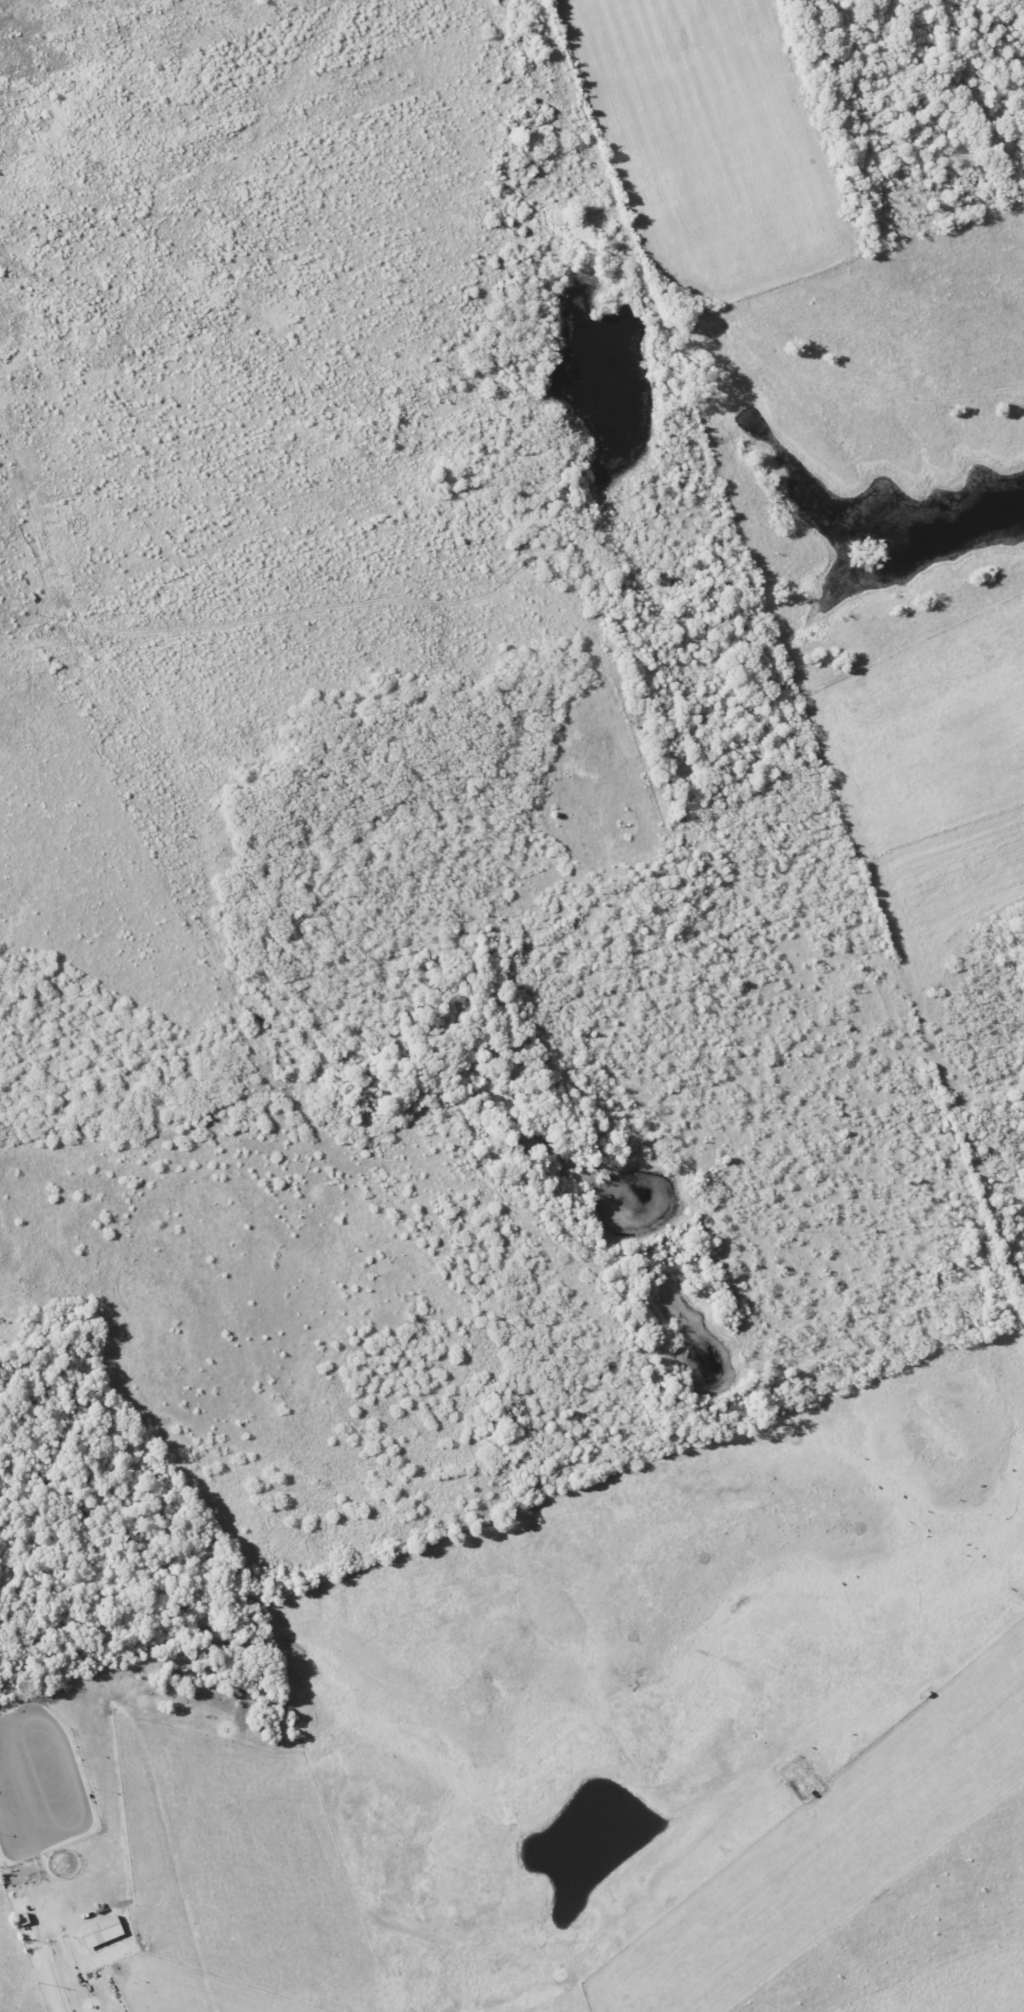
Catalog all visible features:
road: (51, 1980)

